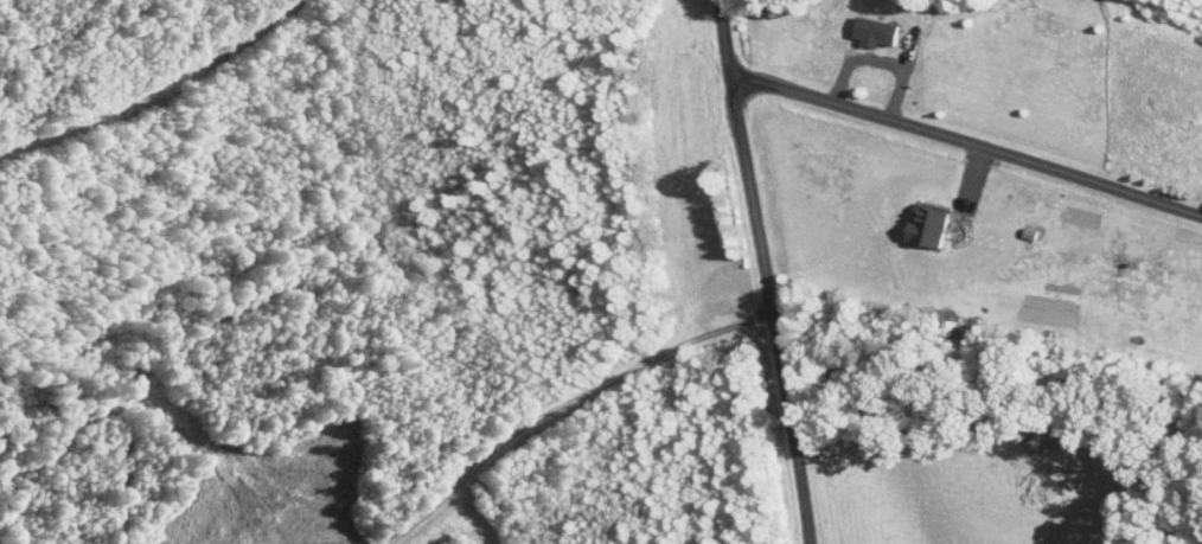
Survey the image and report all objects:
building: (865, 24)
road: (877, 58)
road: (966, 142)
building: (918, 217)
road: (766, 271)

